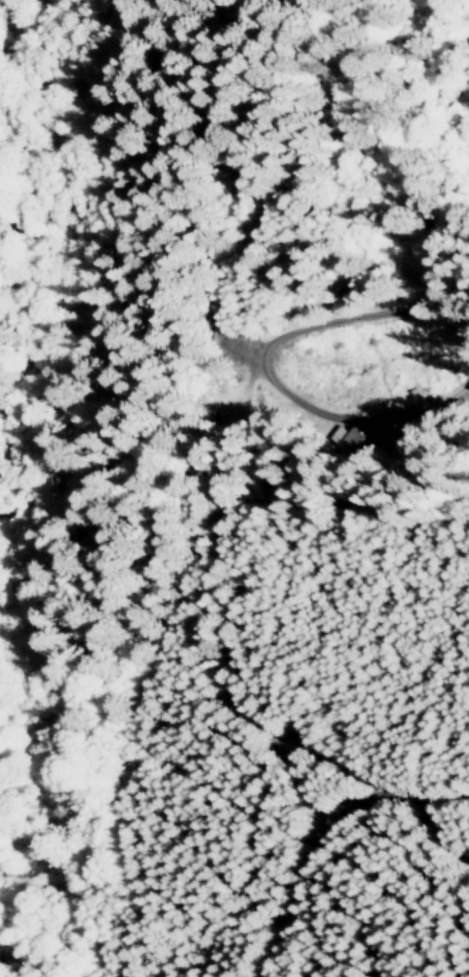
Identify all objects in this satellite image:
building: (354, 439)

